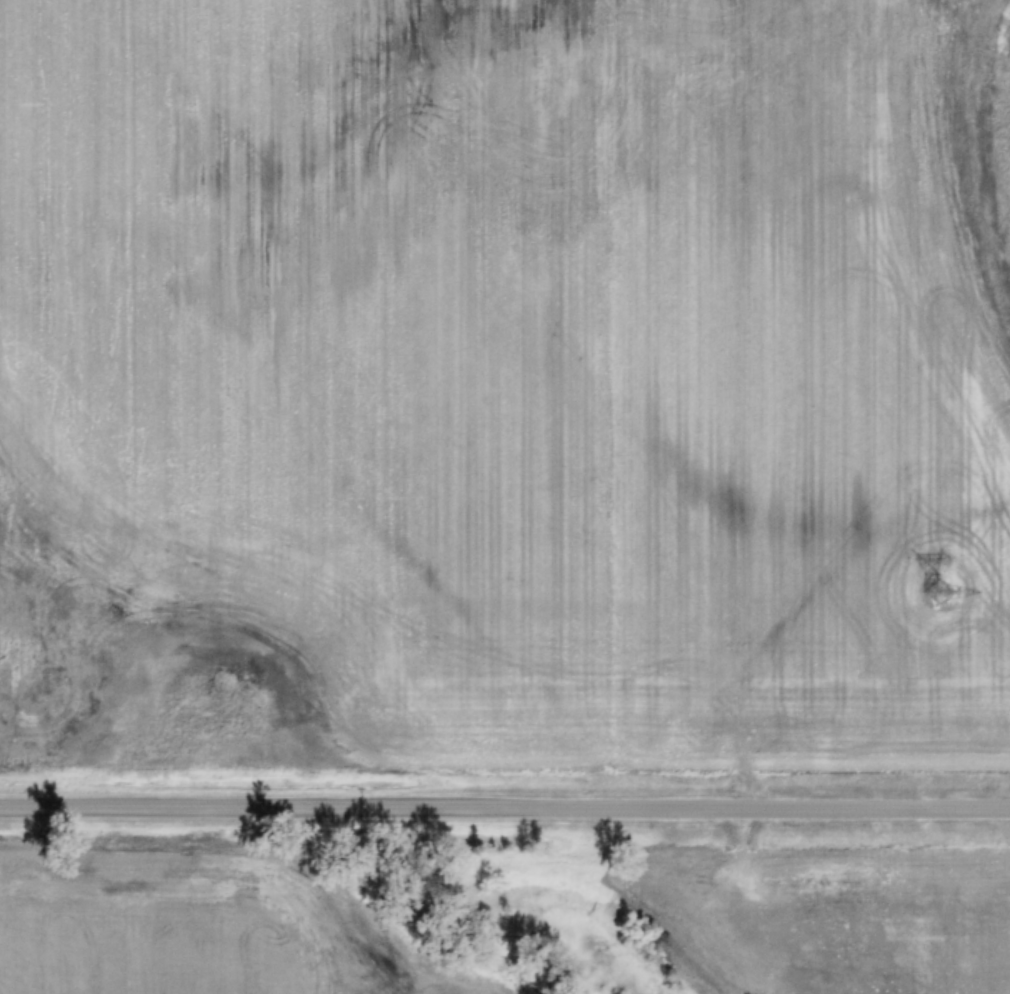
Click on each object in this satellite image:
power tower: (936, 593)
road: (505, 808)

